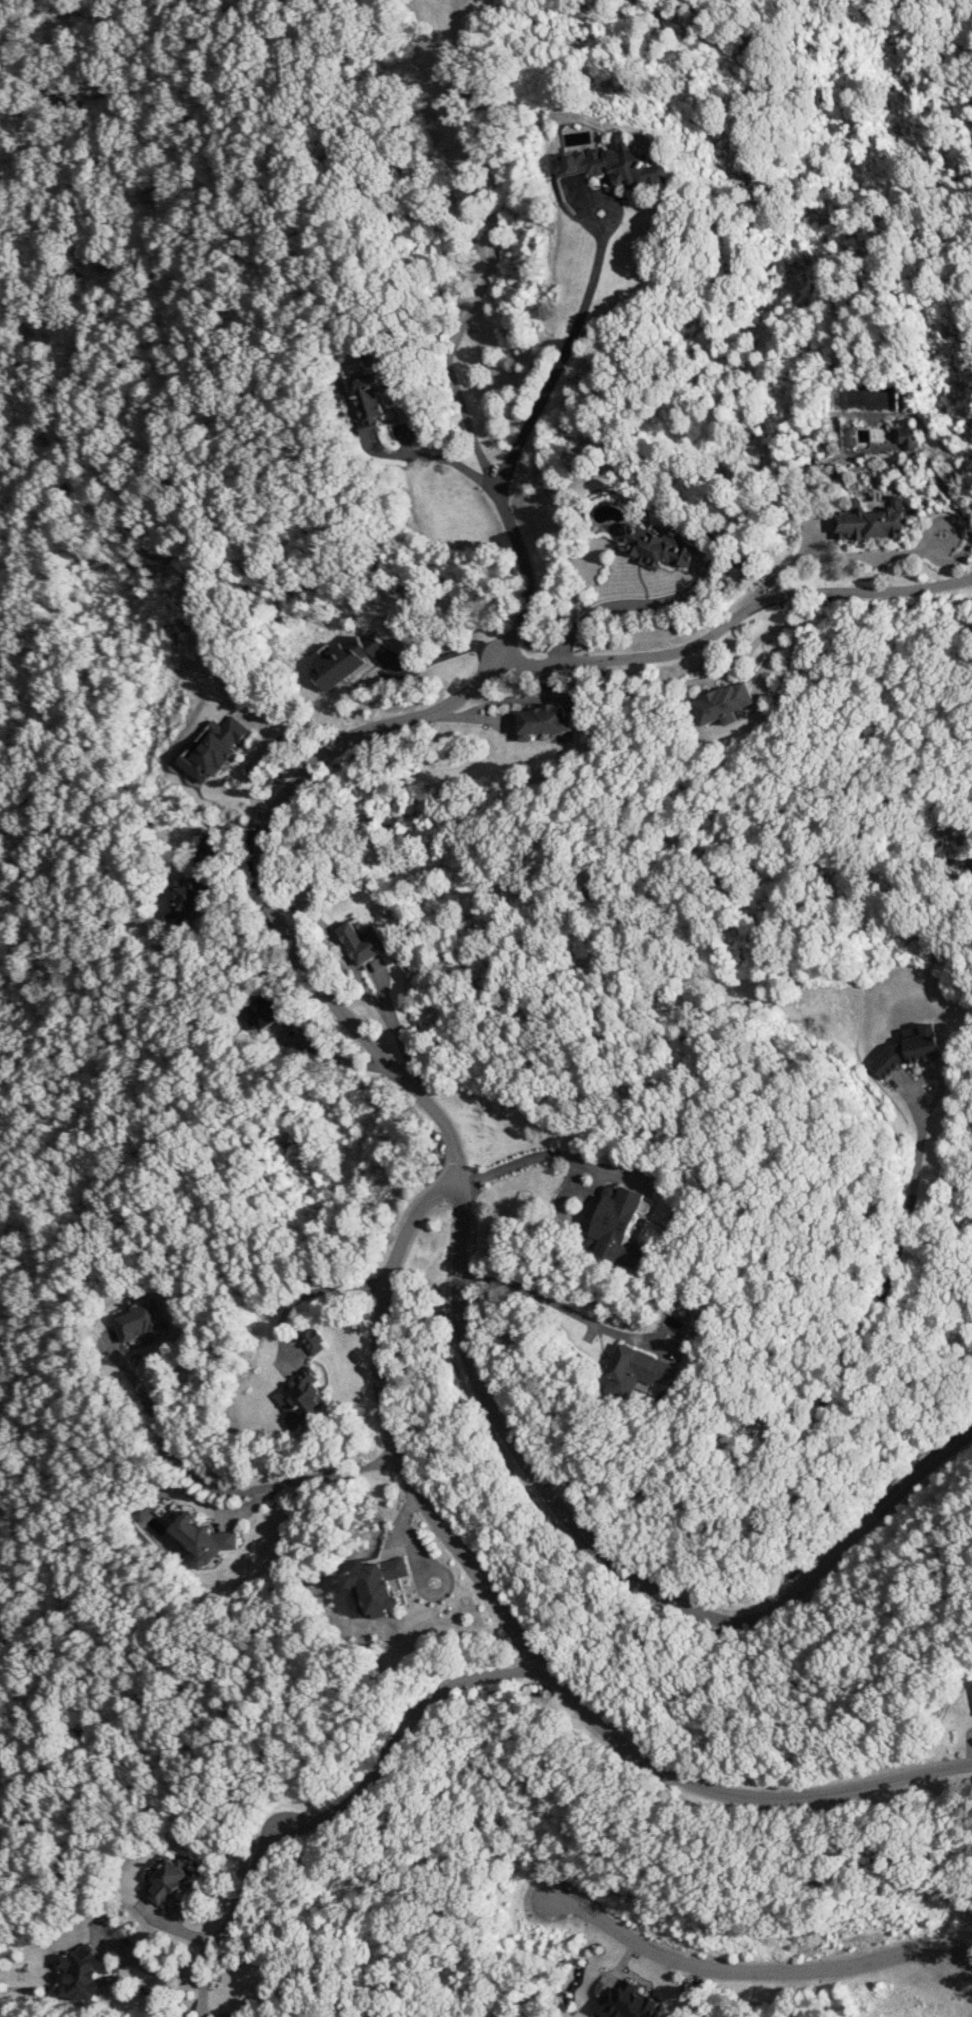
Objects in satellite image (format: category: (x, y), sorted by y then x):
building: (612, 164)
road: (588, 201)
road: (555, 362)
building: (368, 404)
building: (906, 437)
road: (474, 438)
road: (435, 459)
road: (966, 518)
road: (948, 530)
building: (658, 547)
road: (827, 555)
road: (623, 605)
road: (732, 619)
road: (777, 641)
building: (346, 659)
road: (701, 678)
road: (519, 698)
building: (724, 703)
building: (544, 721)
building: (213, 747)
road: (251, 762)
road: (257, 889)
building: (191, 897)
building: (363, 942)
road: (355, 974)
building: (264, 1012)
building: (910, 1049)
road: (334, 1057)
building: (617, 1225)
road: (303, 1294)
road: (874, 1303)
building: (137, 1322)
building: (314, 1341)
building: (637, 1371)
building: (300, 1398)
building: (146, 1509)
building: (204, 1539)
road: (459, 1558)
road: (621, 1568)
building: (378, 1585)
road: (310, 1822)
building: (168, 1881)
building: (80, 1973)
road: (756, 1974)
building: (628, 2002)

